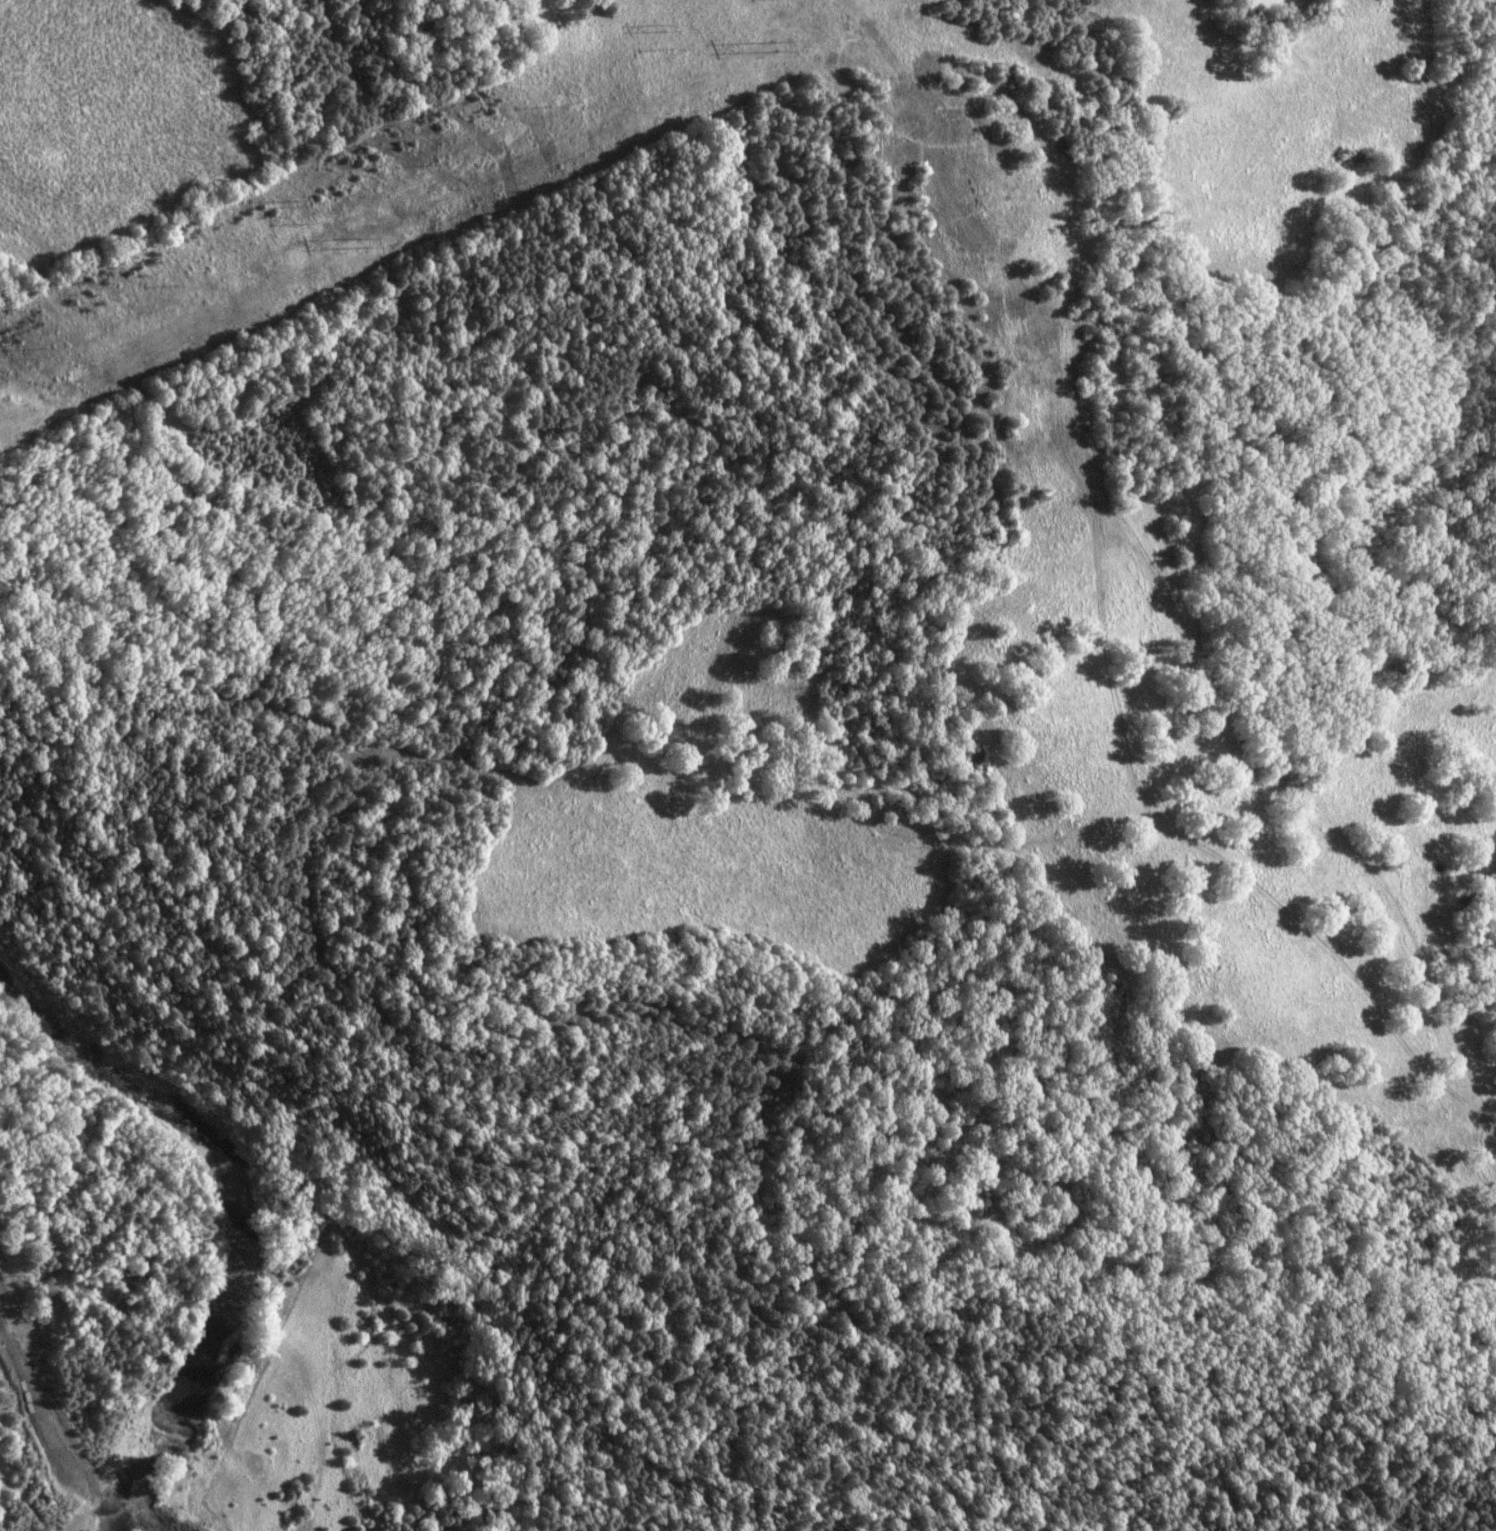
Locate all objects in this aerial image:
power tower: (664, 29)
power tower: (778, 49)
power tower: (294, 206)
power tower: (363, 244)

